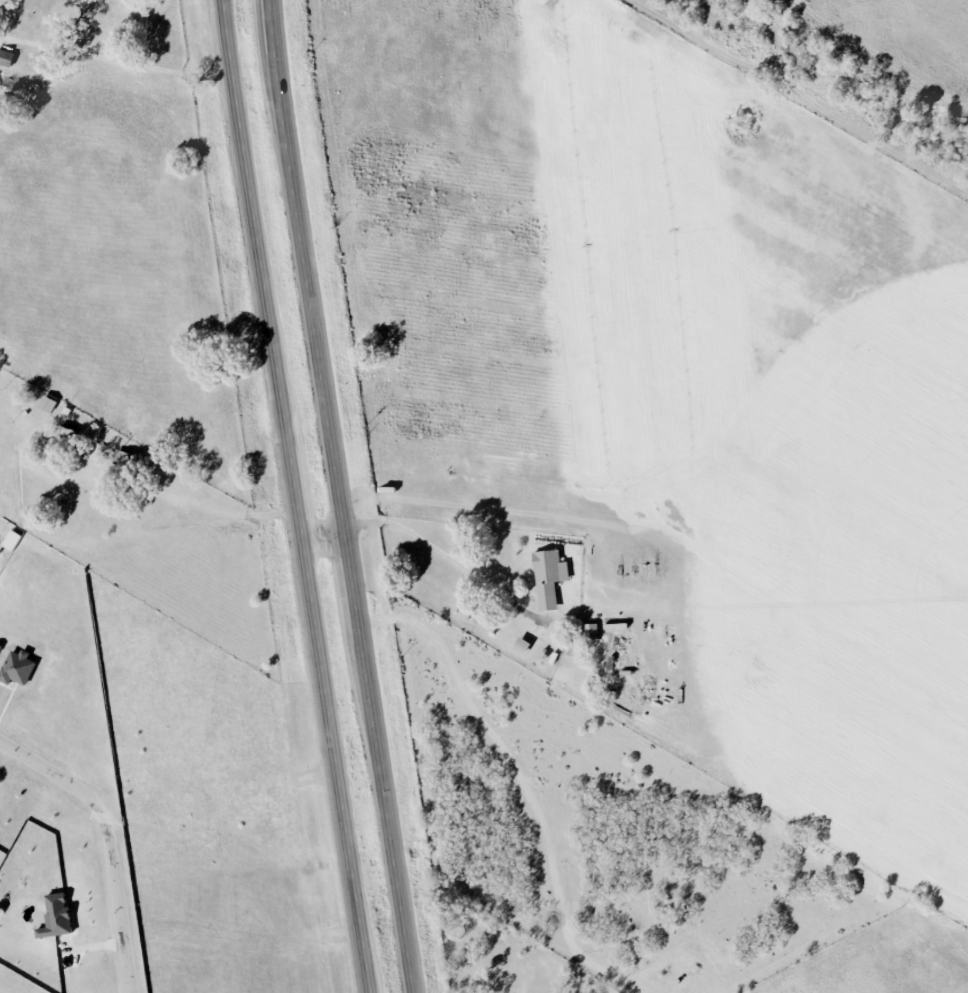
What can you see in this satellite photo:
building: (6, 58)
road: (126, 62)
building: (47, 404)
building: (65, 438)
road: (297, 496)
road: (339, 496)
road: (324, 536)
building: (11, 540)
road: (447, 556)
building: (549, 578)
building: (590, 633)
building: (521, 646)
building: (17, 668)
road: (109, 839)
building: (55, 916)

